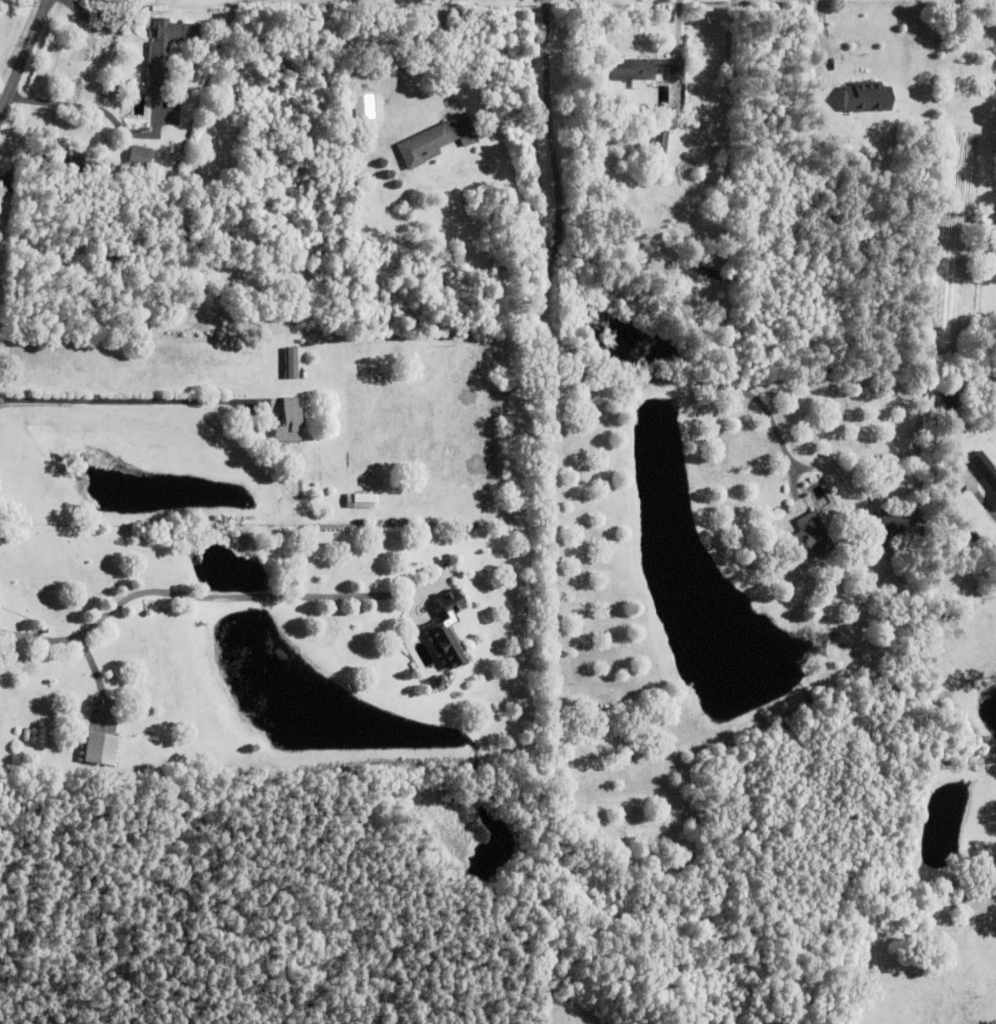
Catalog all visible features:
building: (165, 51)
road: (22, 59)
building: (644, 68)
building: (113, 89)
building: (867, 96)
building: (664, 114)
road: (726, 118)
building: (470, 138)
building: (433, 141)
building: (660, 142)
building: (806, 143)
building: (140, 156)
building: (621, 168)
building: (174, 169)
building: (637, 202)
building: (698, 269)
road: (554, 327)
building: (290, 363)
building: (289, 392)
building: (946, 399)
road: (127, 406)
building: (288, 422)
building: (986, 466)
building: (403, 487)
building: (363, 506)
road: (986, 506)
building: (898, 523)
building: (471, 533)
building: (812, 536)
building: (888, 546)
road: (206, 595)
building: (446, 634)
building: (438, 682)
building: (625, 743)
building: (103, 754)

